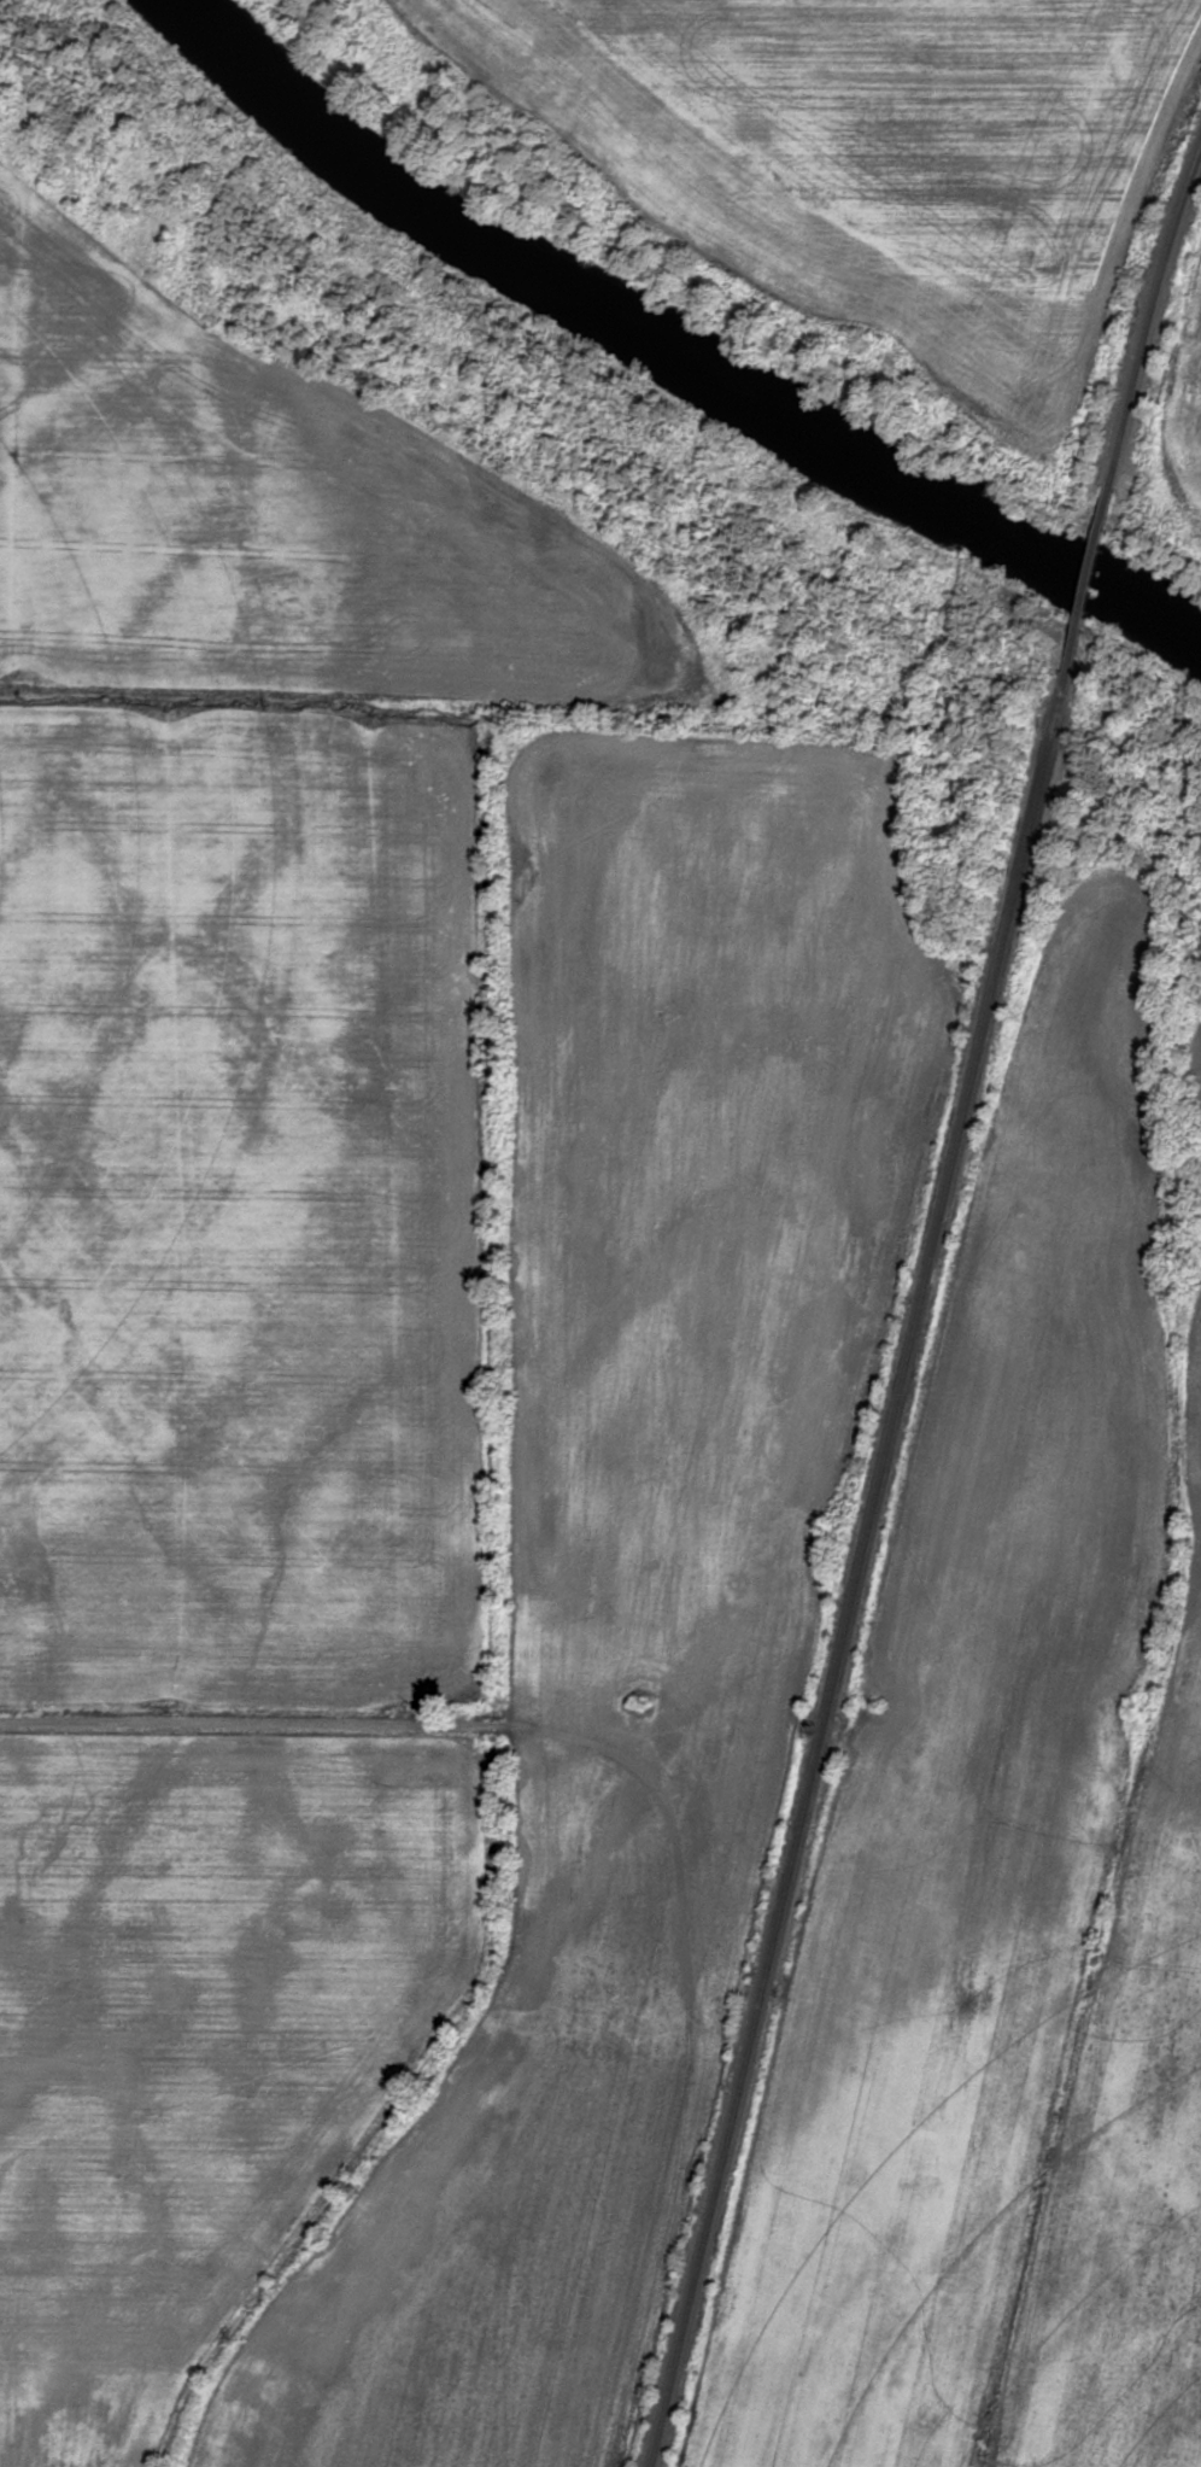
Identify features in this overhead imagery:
railway: (1150, 316)
railway: (1086, 578)
railway: (856, 1569)
road: (204, 1720)
road: (668, 1817)
road: (644, 2290)

